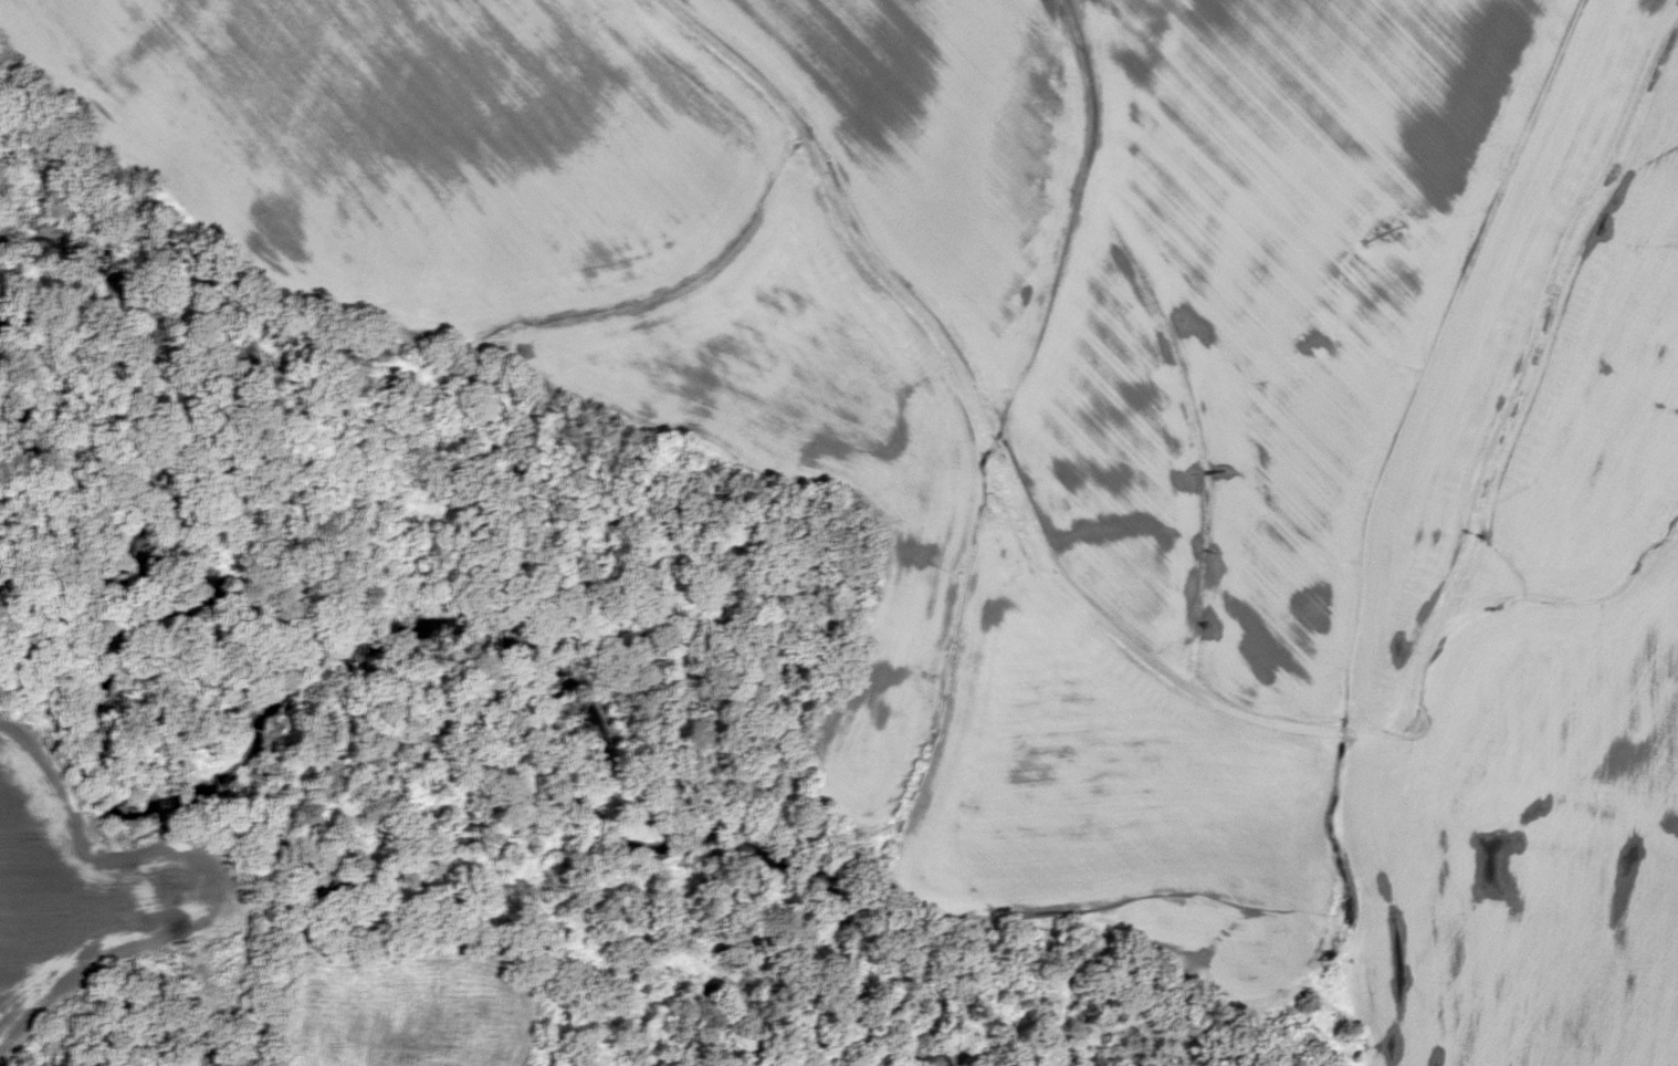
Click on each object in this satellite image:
road: (1527, 362)
road: (1060, 542)

